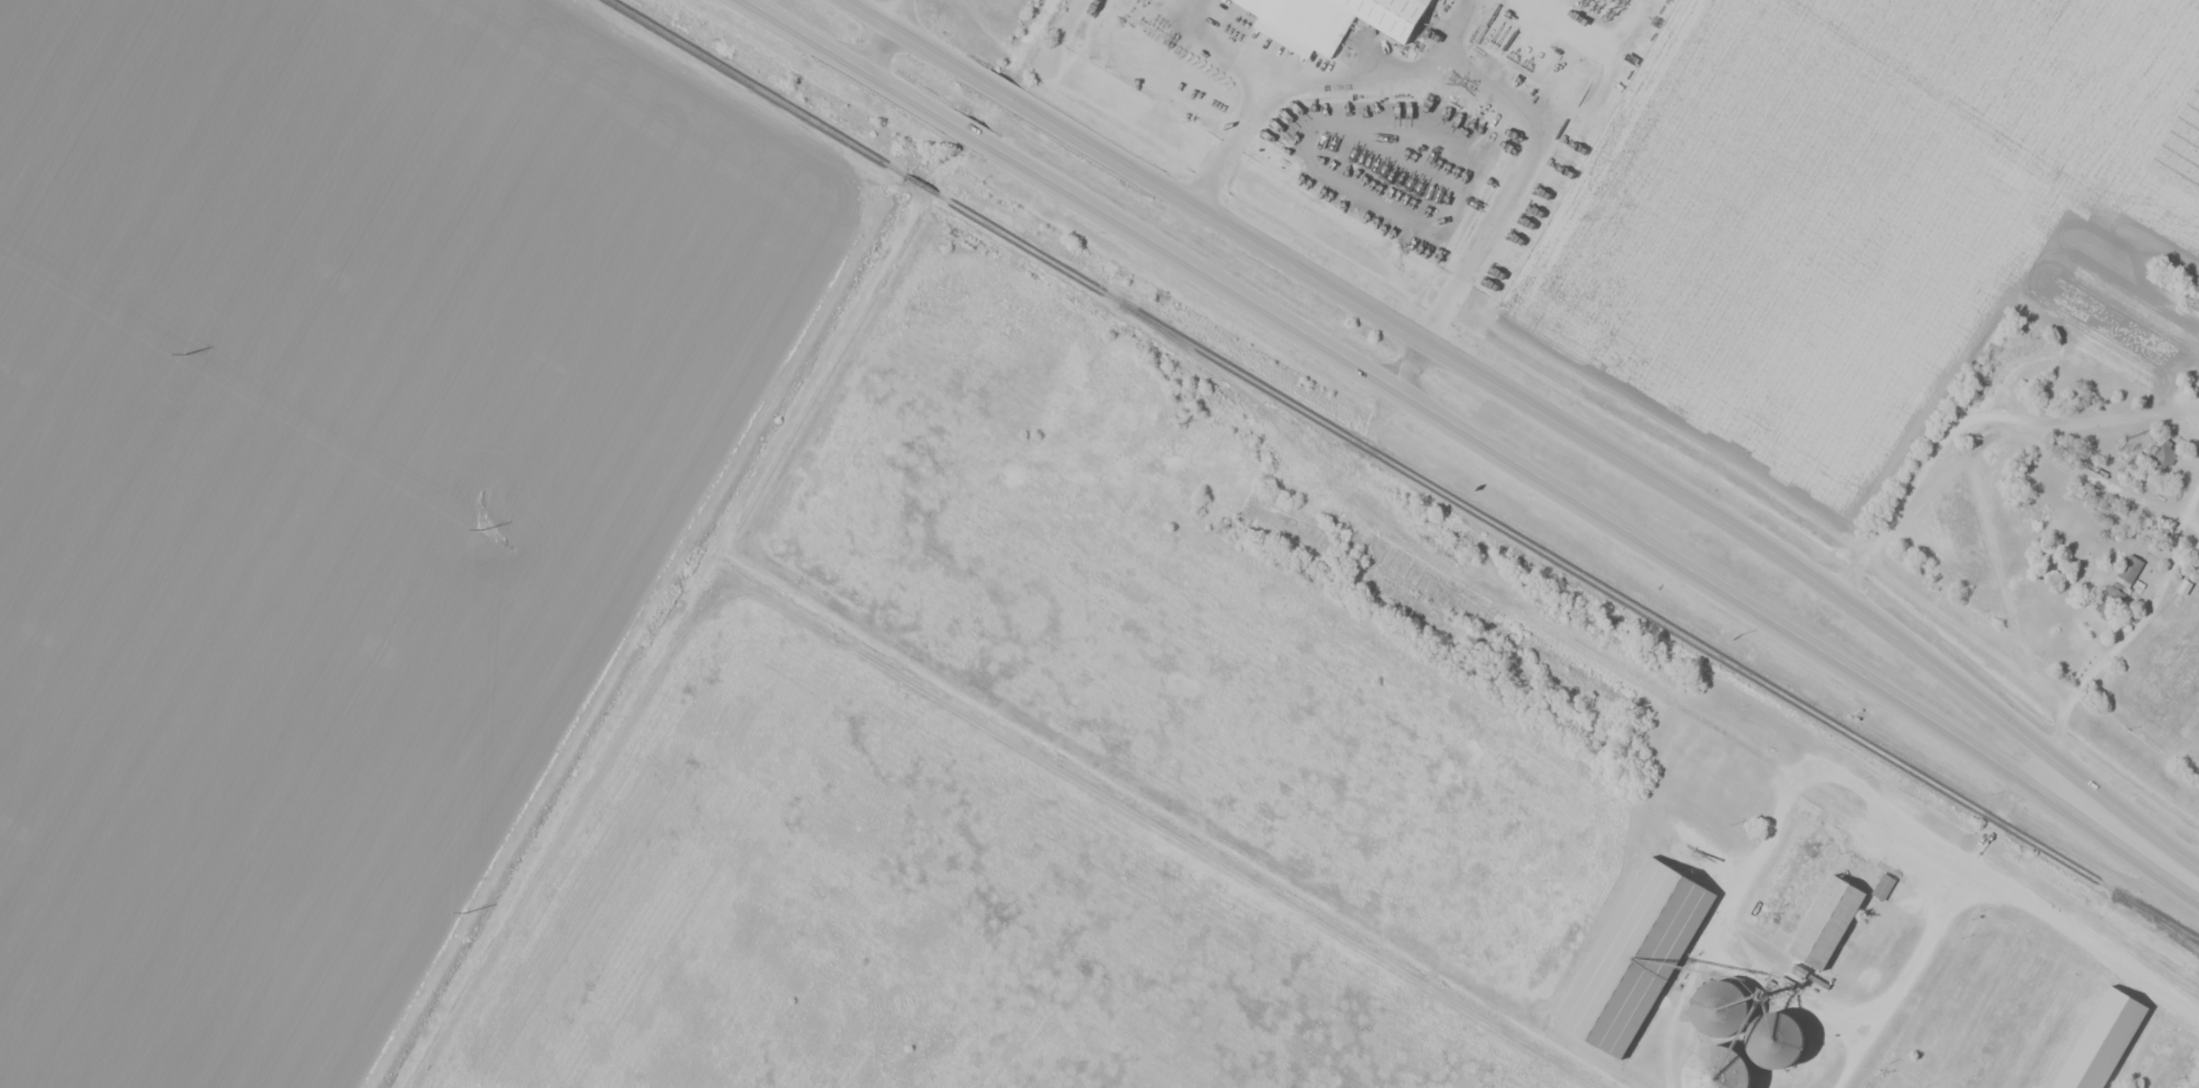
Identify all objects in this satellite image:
road: (899, 11)
building: (1318, 20)
road: (1214, 43)
road: (883, 48)
road: (1384, 76)
road: (1231, 137)
road: (1517, 177)
power tower: (184, 355)
road: (1408, 360)
road: (1482, 367)
road: (1405, 393)
building: (2164, 452)
railway: (1404, 468)
power tower: (480, 530)
building: (2118, 585)
road: (2131, 837)
road: (1242, 877)
building: (1882, 885)
power tower: (462, 913)
road: (1941, 919)
building: (1825, 929)
building: (1636, 962)
building: (1976, 1016)
building: (1722, 1017)
building: (2040, 1031)
building: (2104, 1045)
building: (1778, 1050)
building: (2172, 1056)
building: (1724, 1074)

